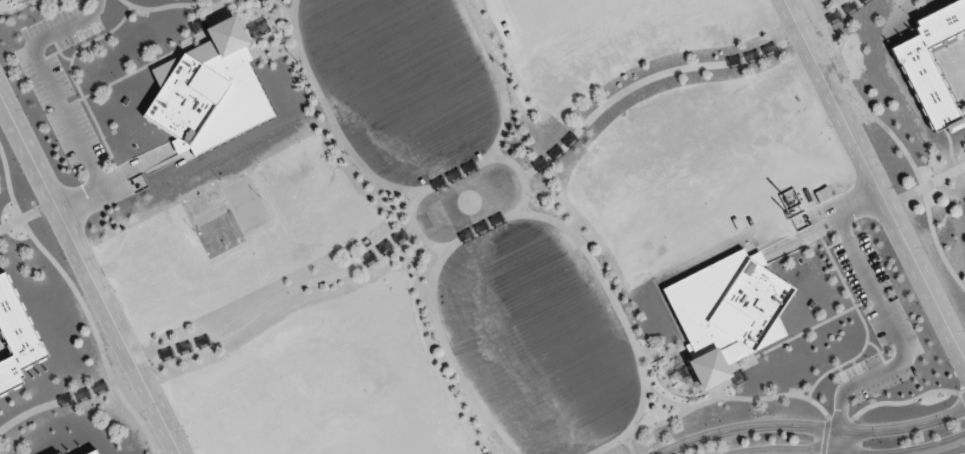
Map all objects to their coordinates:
building: (931, 63)
building: (208, 90)
road: (876, 177)
road: (823, 219)
building: (384, 246)
road: (448, 247)
road: (91, 271)
building: (726, 311)
road: (895, 330)
building: (15, 337)
road: (808, 424)
road: (839, 440)
building: (93, 452)
road: (849, 453)

